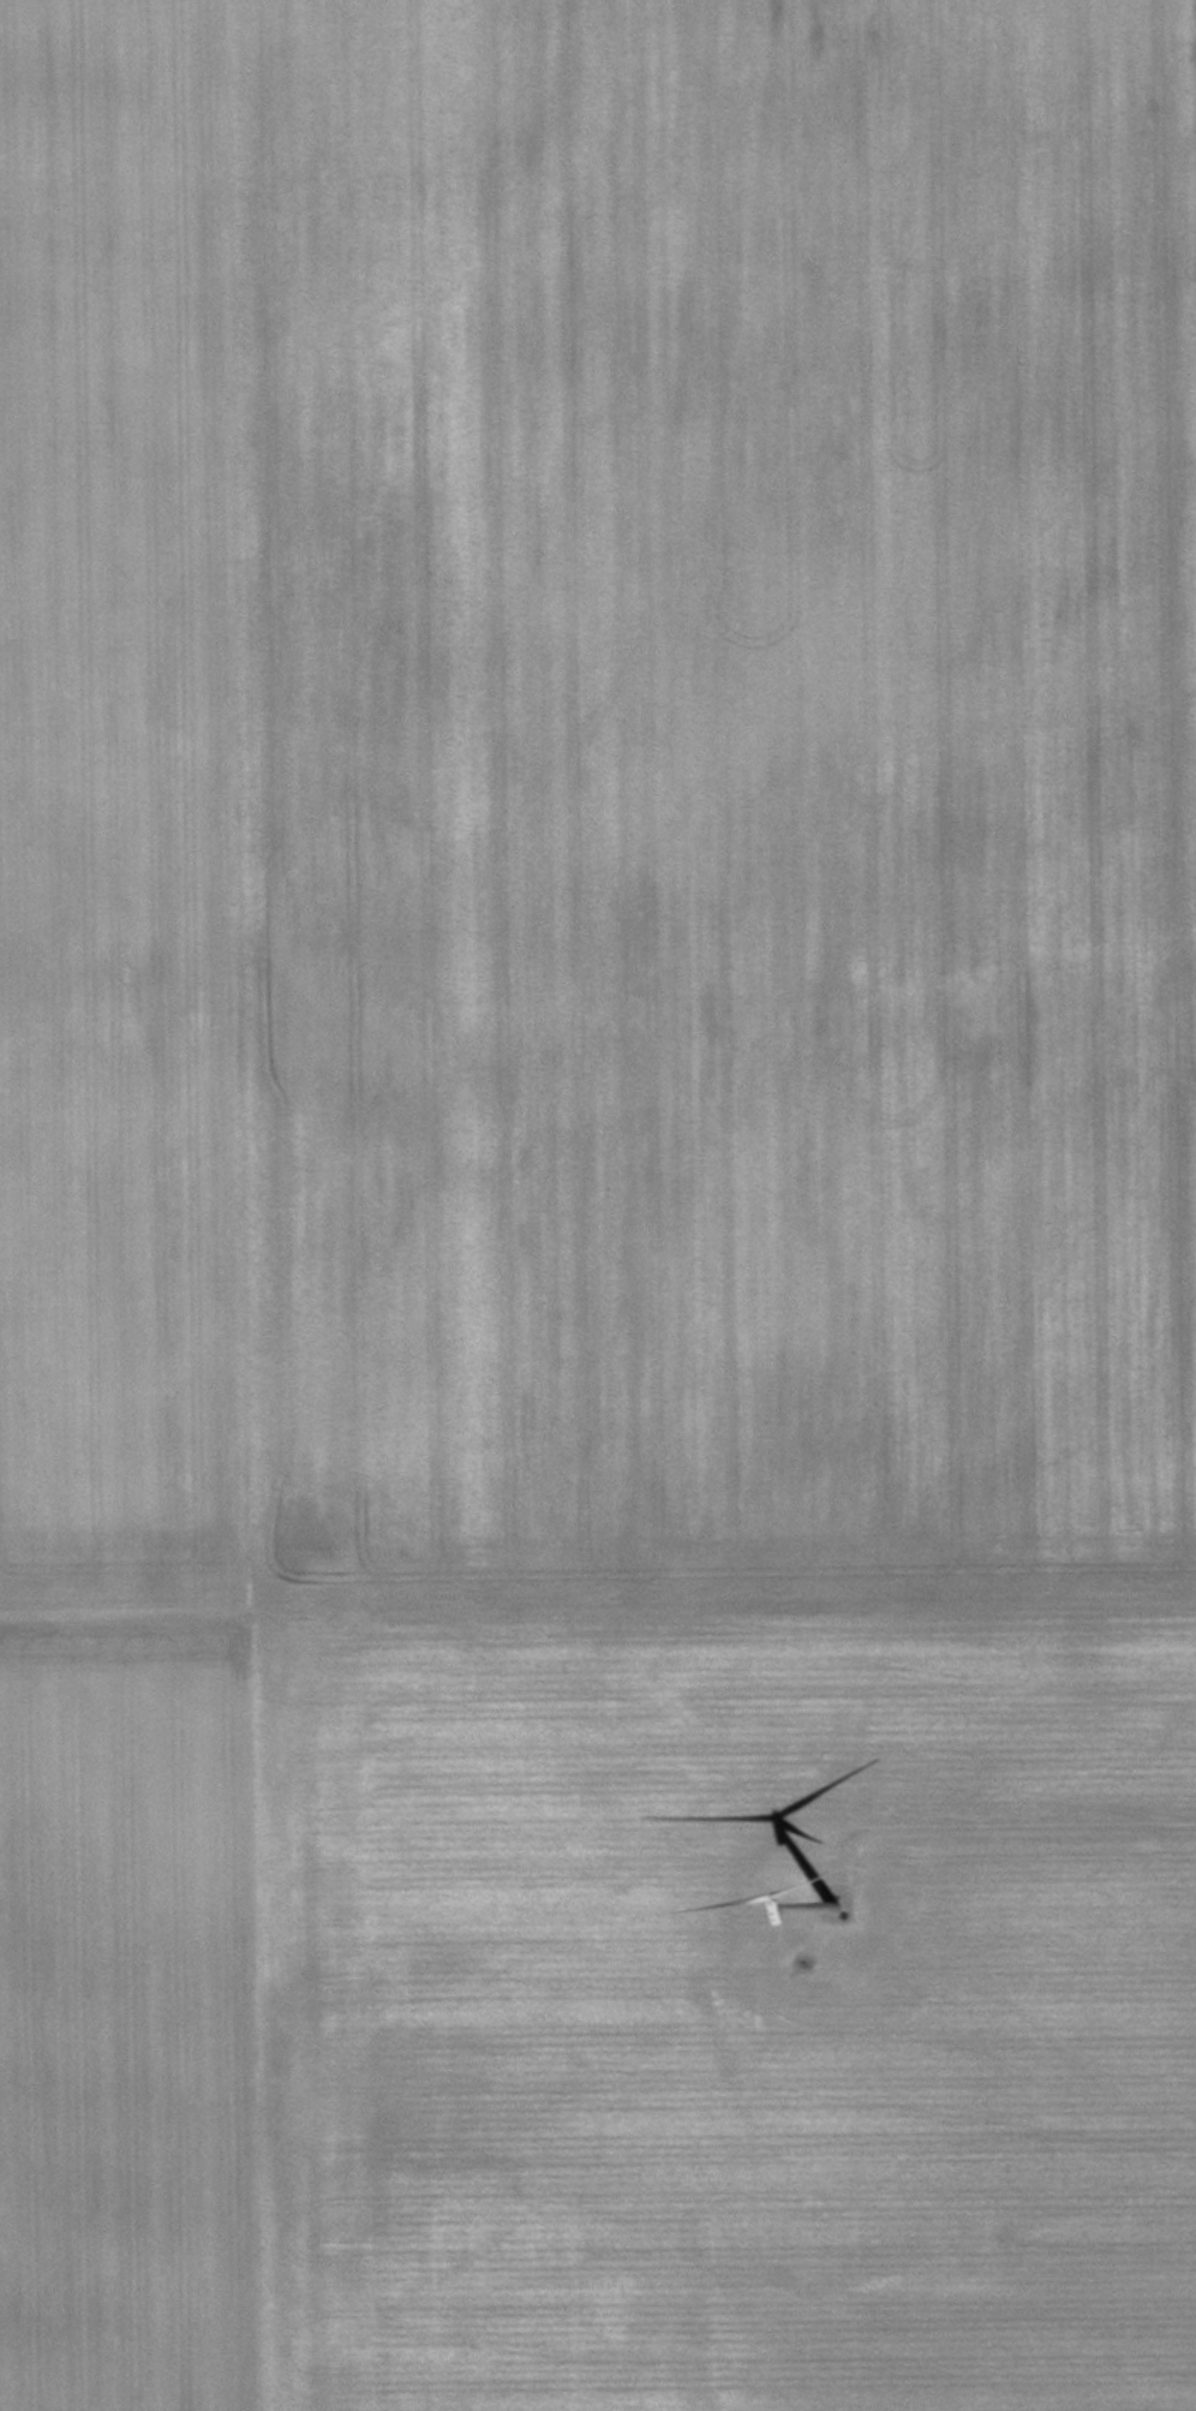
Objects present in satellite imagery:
road: (1019, 1827)
wind turbine: (848, 1911)

